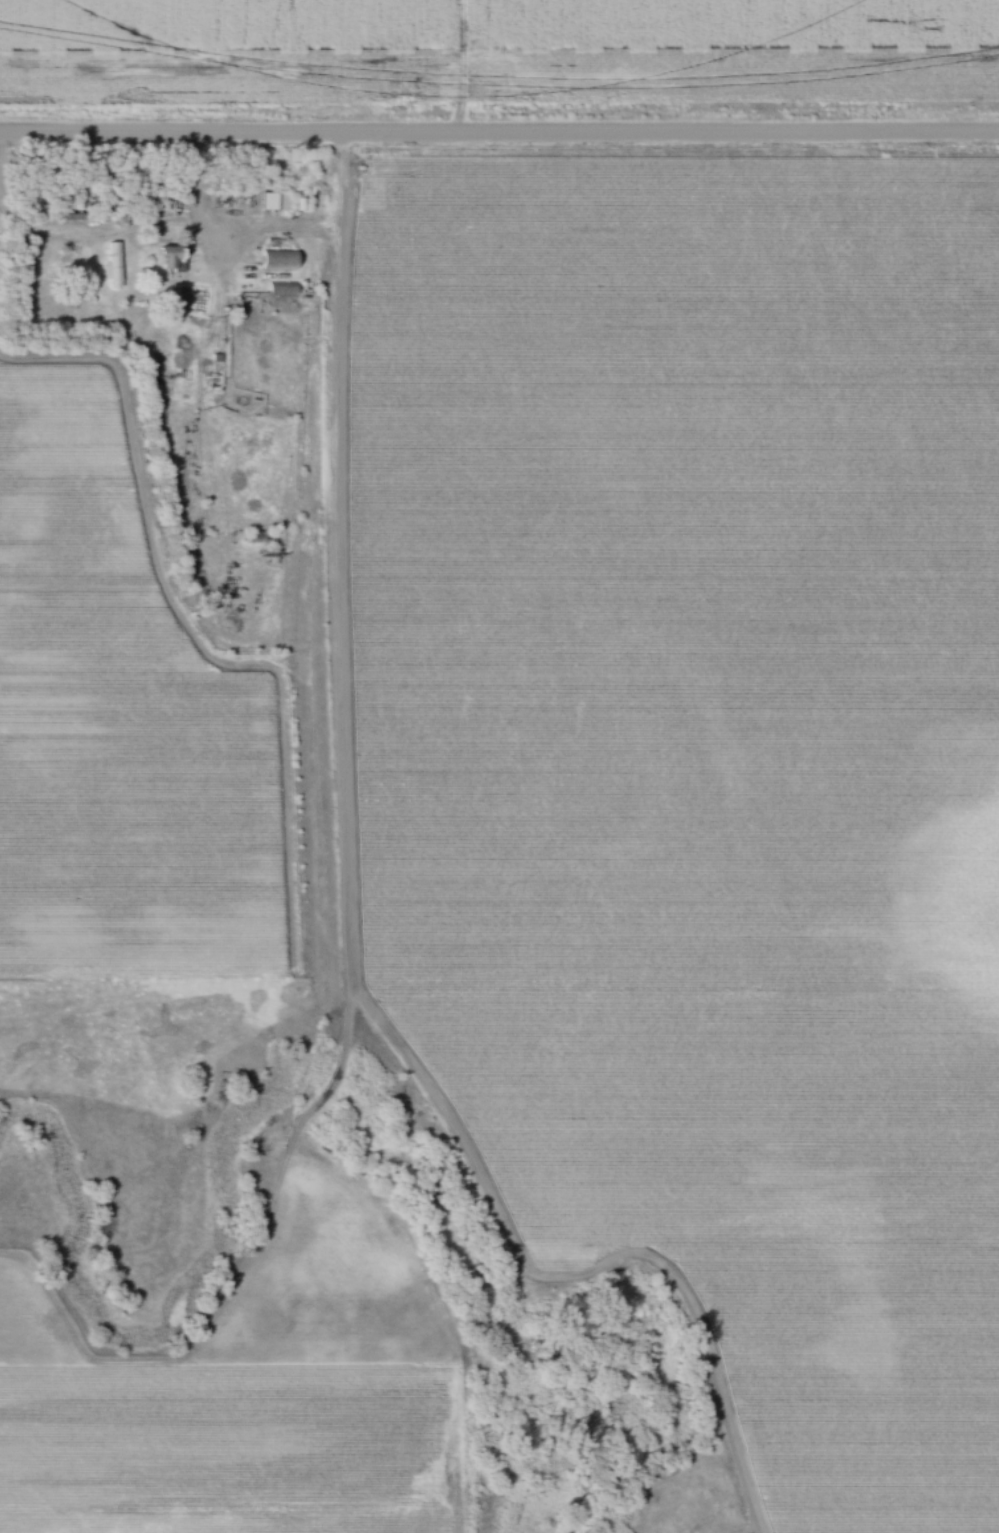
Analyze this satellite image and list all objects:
road: (499, 138)
building: (275, 203)
road: (108, 240)
building: (167, 261)
building: (277, 261)
building: (114, 267)
building: (282, 288)
building: (256, 539)

